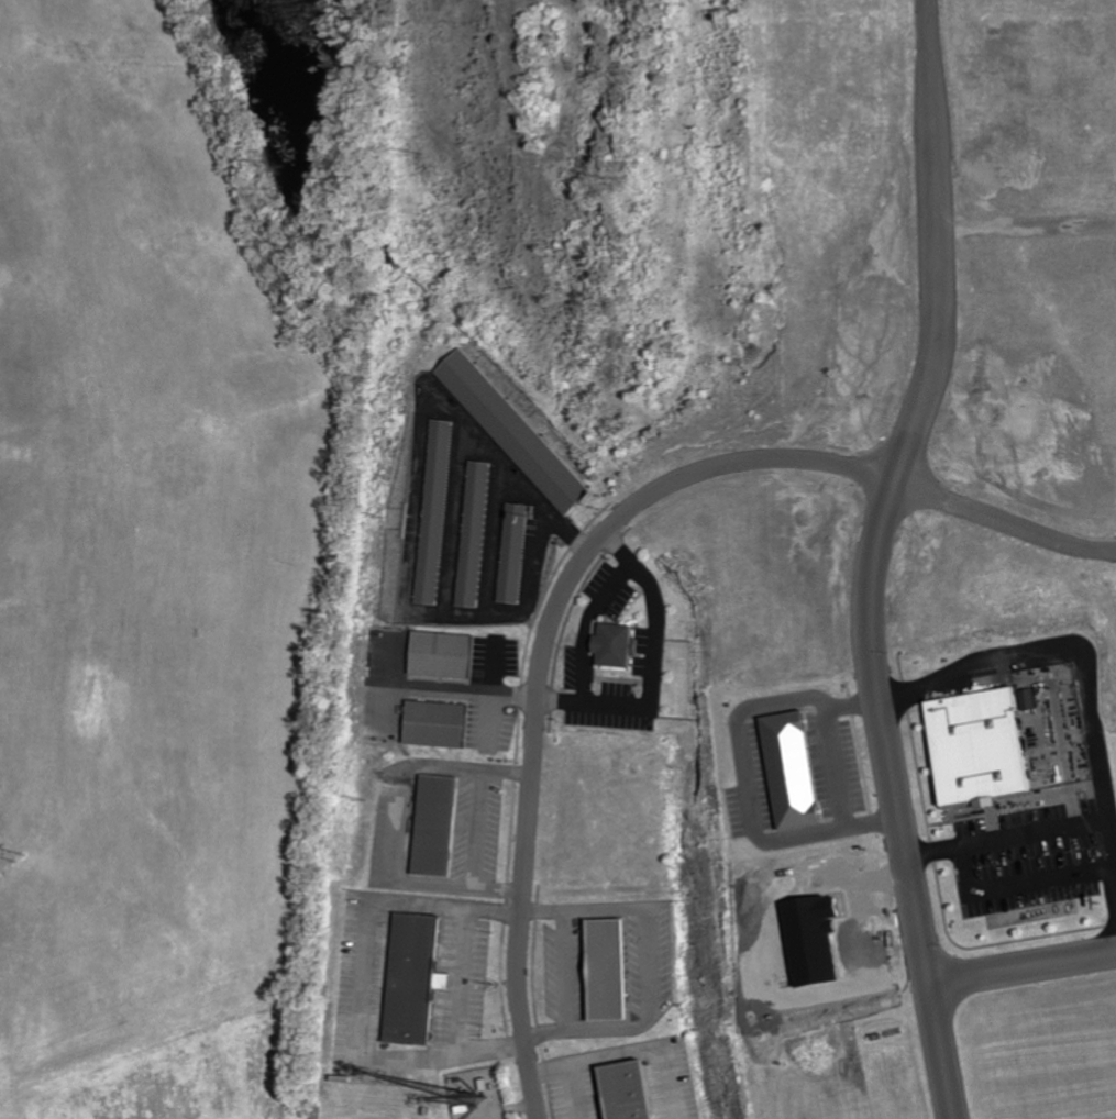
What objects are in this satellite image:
road: (1024, 224)
building: (518, 432)
building: (434, 512)
building: (475, 534)
road: (578, 552)
building: (515, 553)
road: (868, 558)
building: (619, 646)
road: (1070, 646)
building: (443, 655)
road: (490, 684)
building: (1029, 699)
road: (493, 702)
road: (632, 705)
building: (439, 724)
building: (984, 746)
road: (839, 768)
road: (504, 771)
building: (798, 771)
building: (438, 827)
road: (478, 828)
road: (1007, 841)
road: (496, 889)
road: (1019, 967)
building: (614, 970)
building: (417, 979)
building: (631, 1090)

